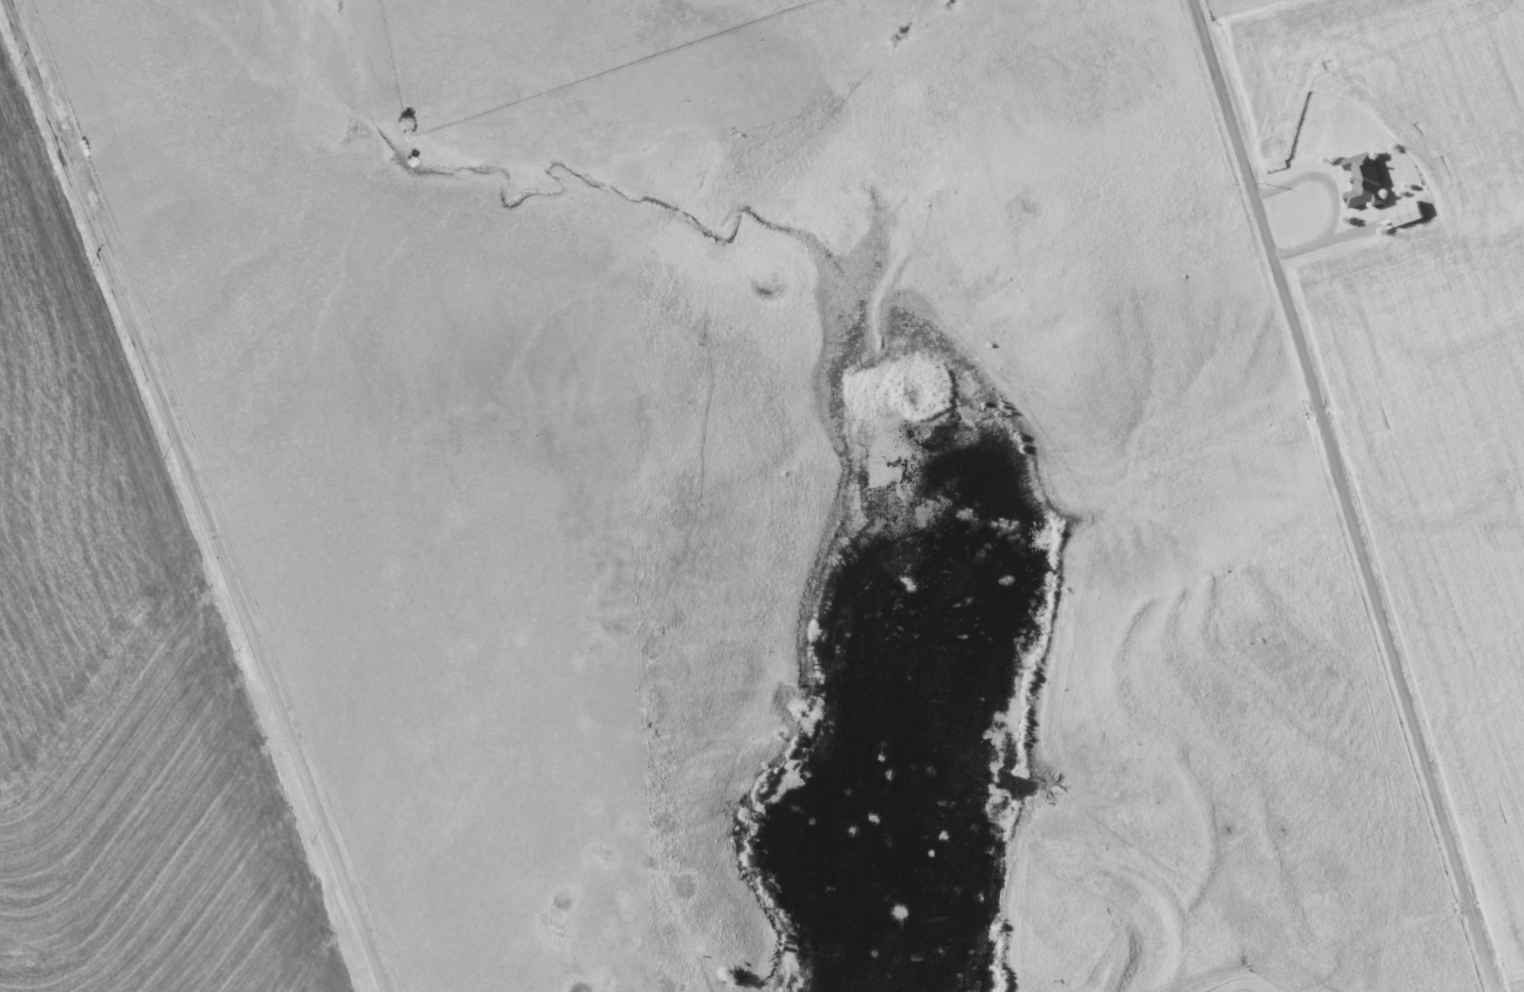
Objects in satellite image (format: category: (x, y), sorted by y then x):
road: (1335, 199)
road: (1345, 495)
road: (196, 496)
dam: (1103, 975)

